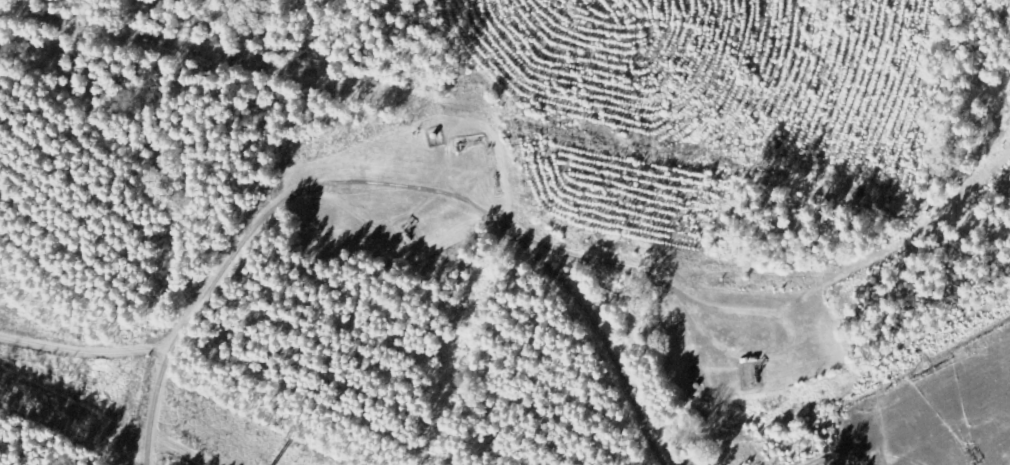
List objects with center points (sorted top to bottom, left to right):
road: (757, 268)

